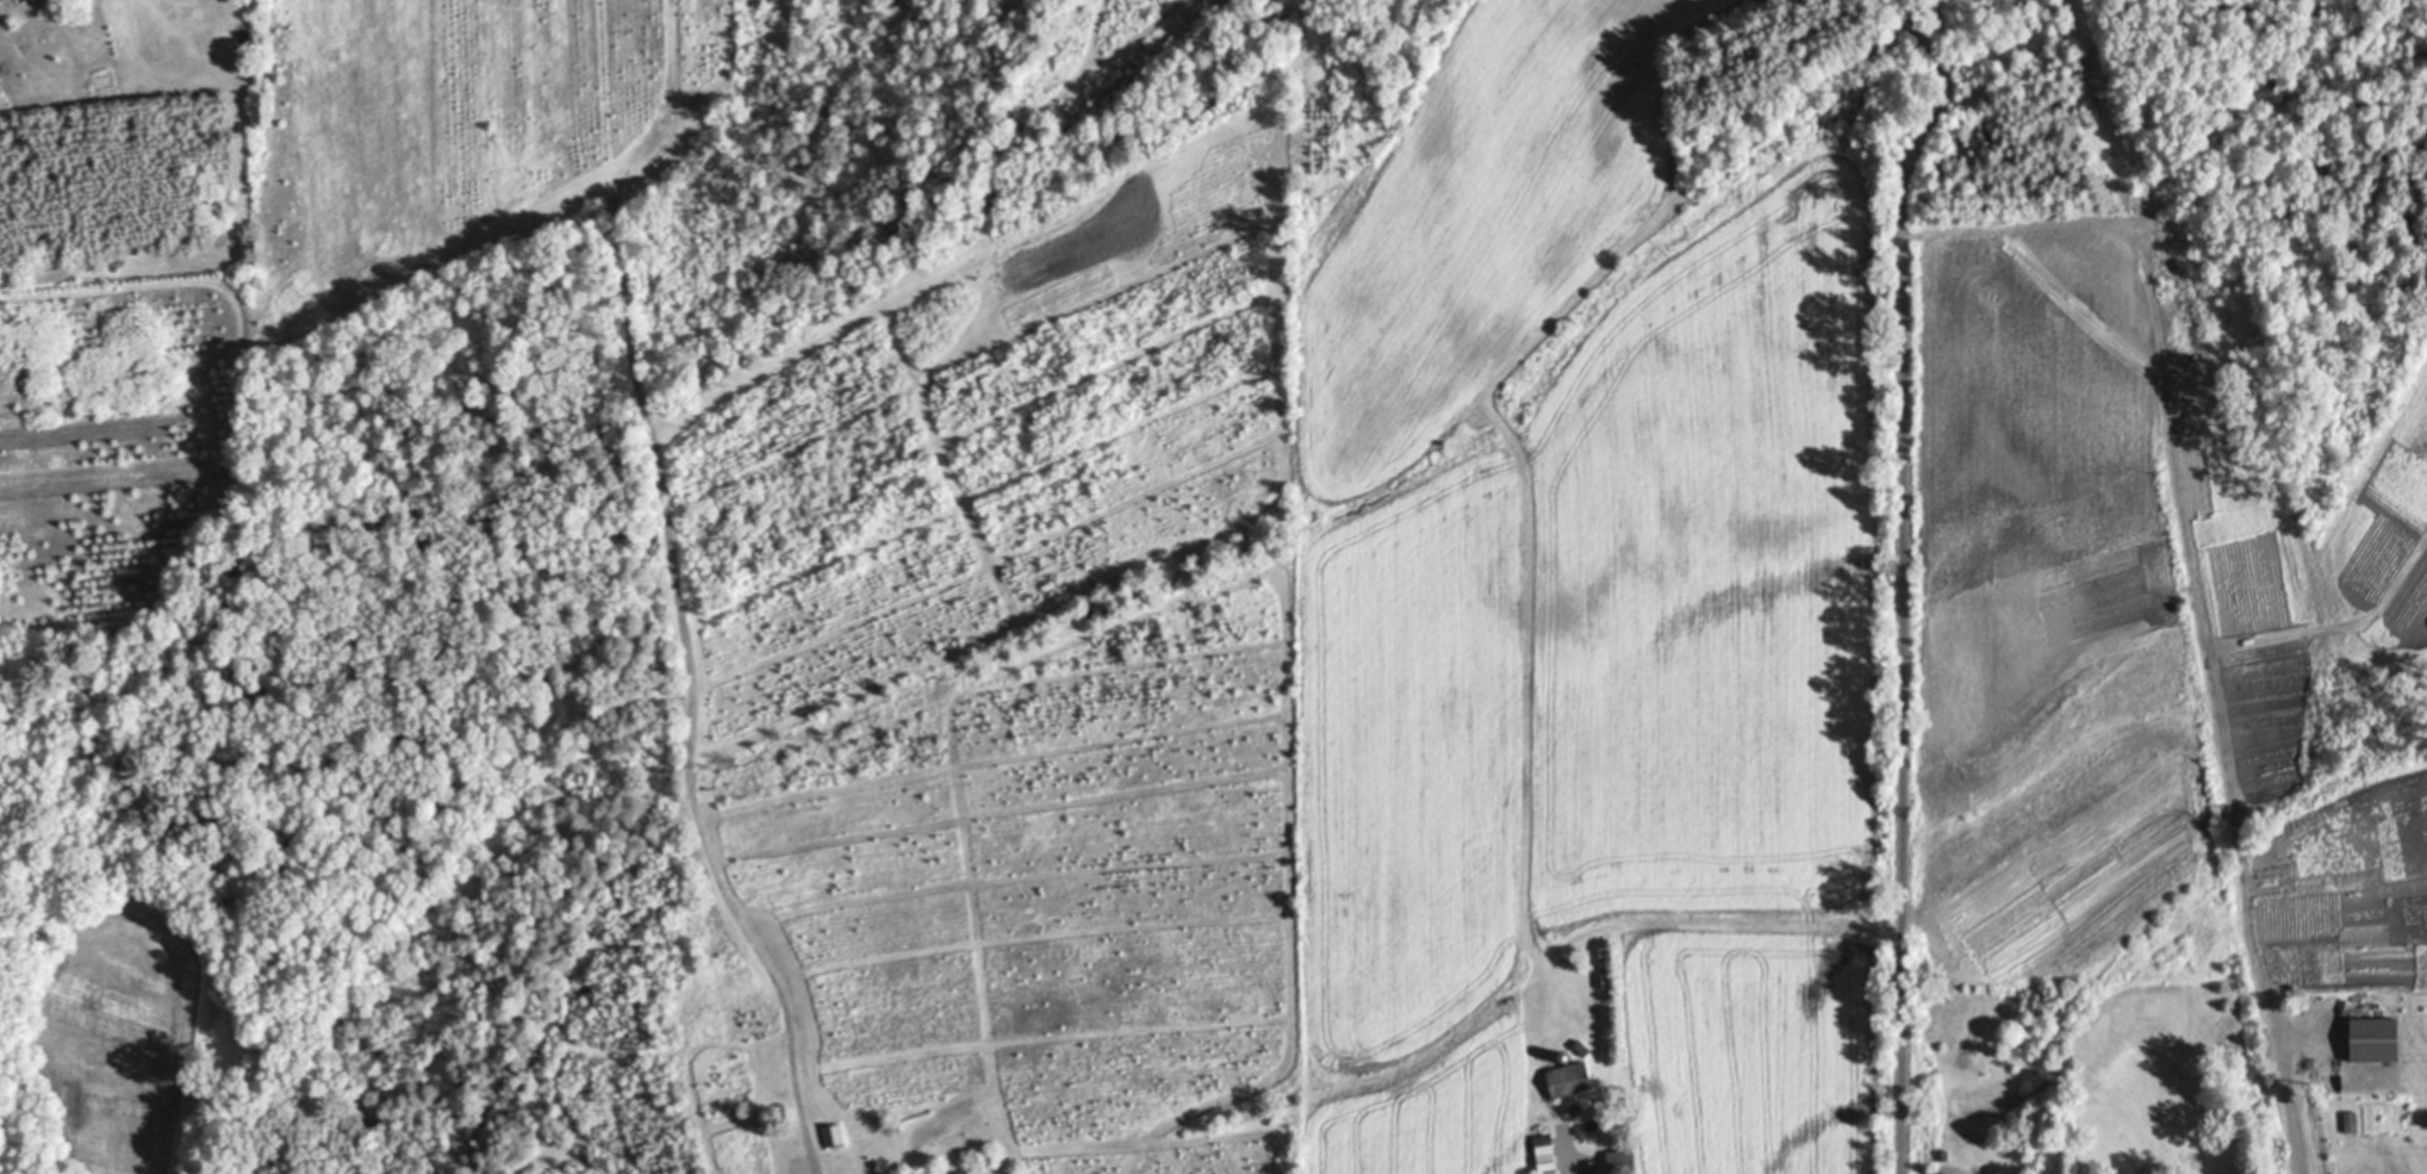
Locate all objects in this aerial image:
building: (0, 0)
building: (1896, 32)
road: (1903, 578)
building: (2384, 1041)
building: (1585, 1049)
building: (1568, 1055)
building: (1569, 1079)
road: (2296, 1098)
building: (1542, 1112)
building: (835, 1135)
road: (814, 1151)
building: (1547, 1154)
road: (1568, 1154)
building: (2246, 1155)
building: (1623, 1161)
building: (963, 1172)

